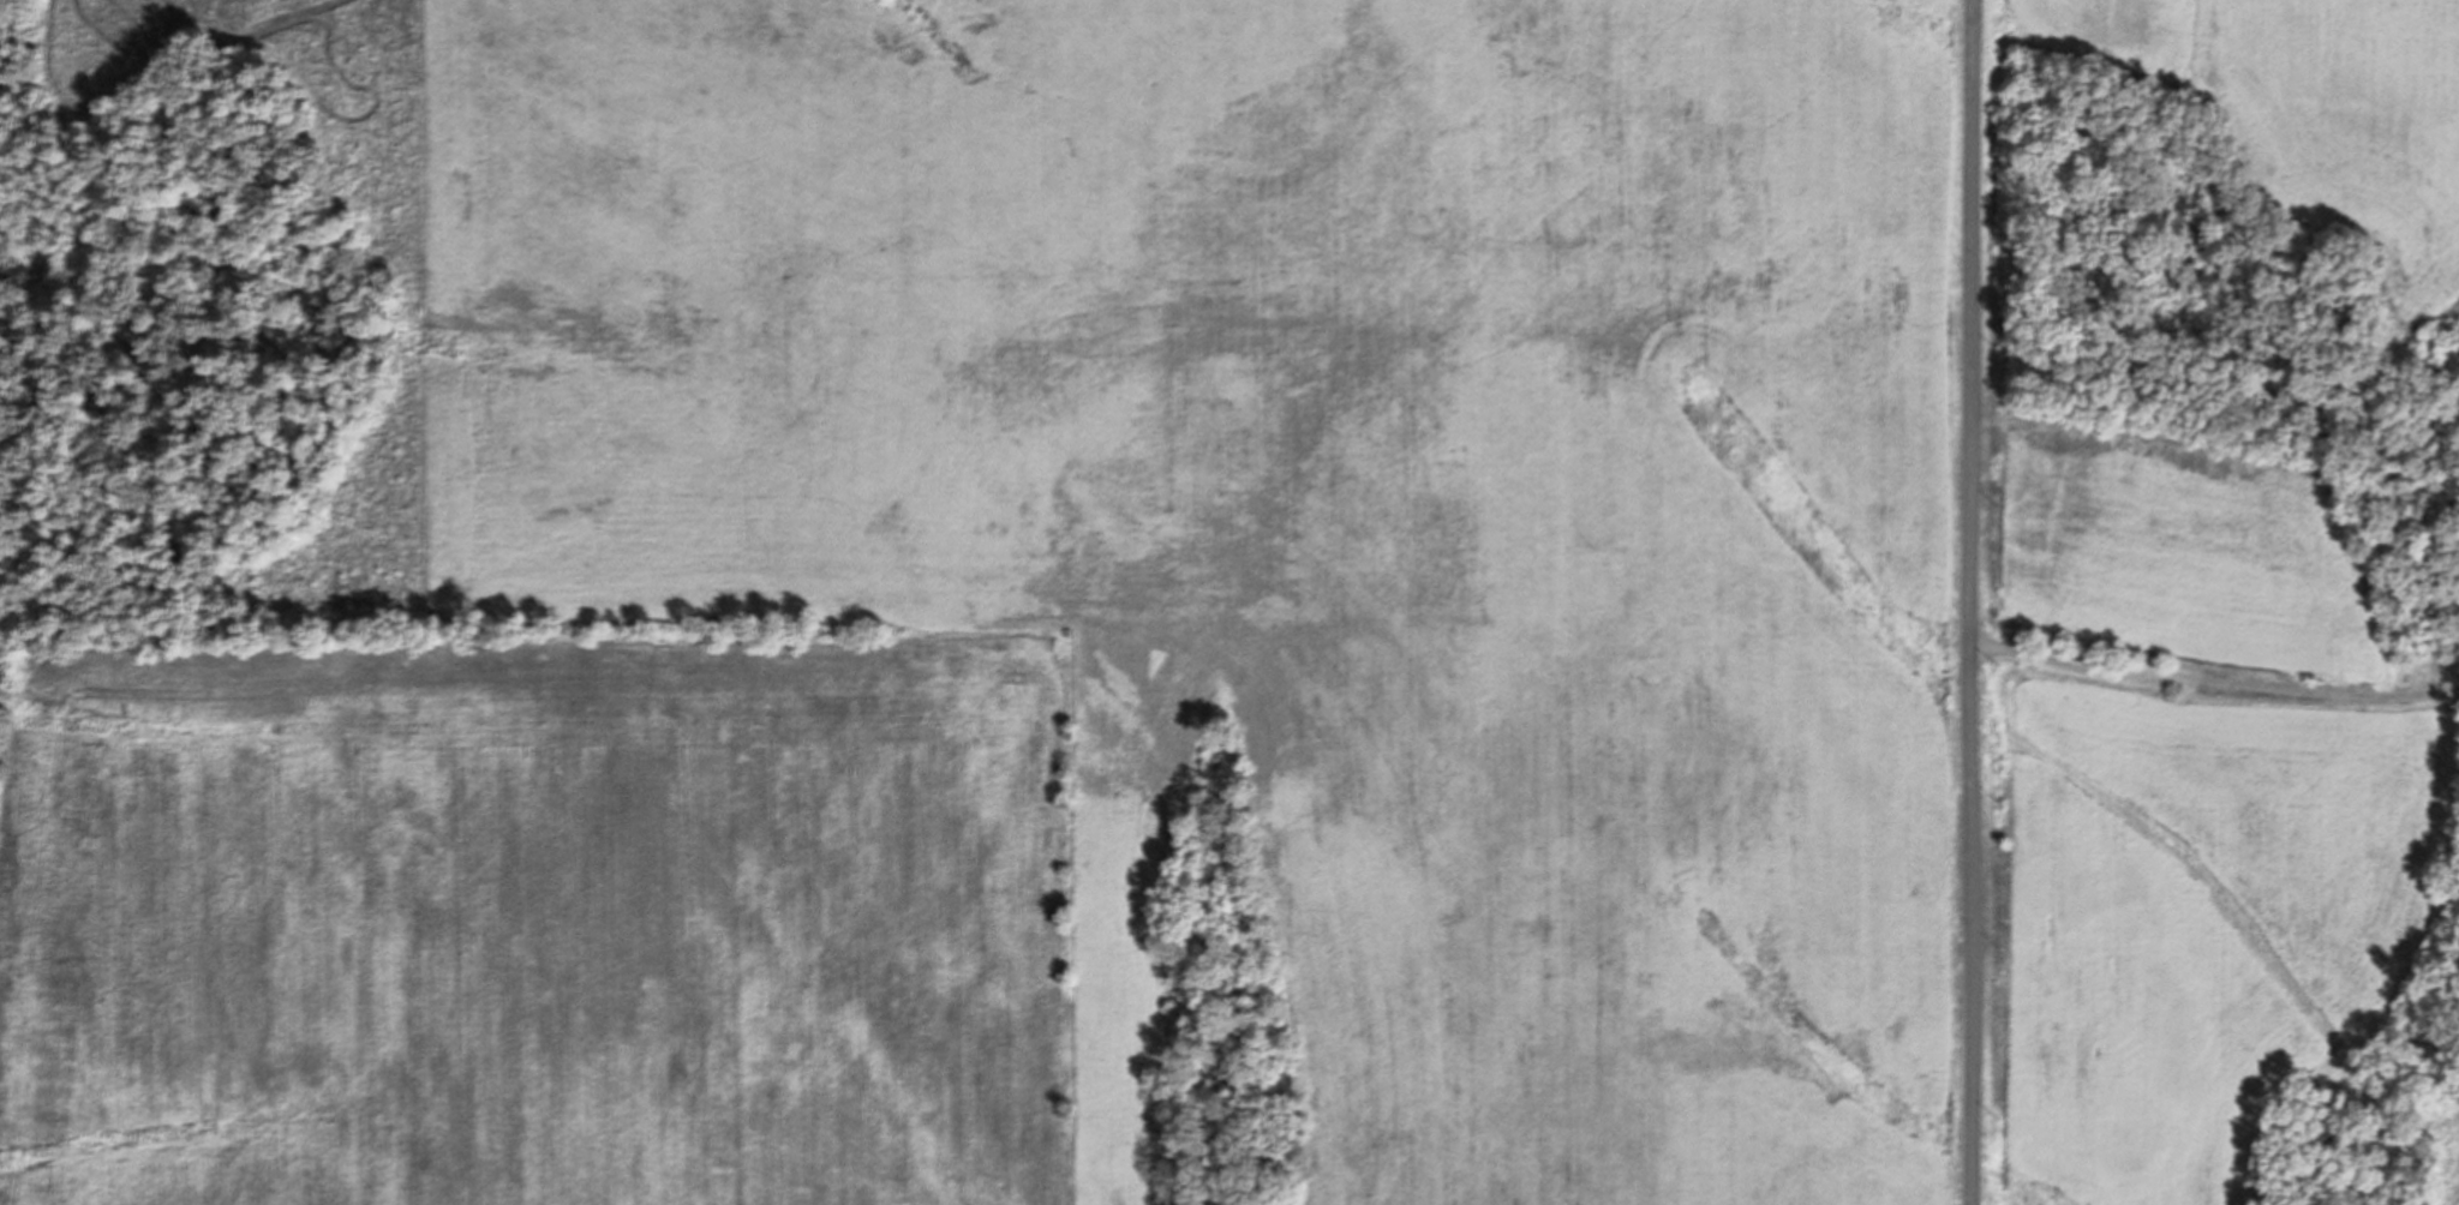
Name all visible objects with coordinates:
road: (1974, 602)
road: (2215, 675)

